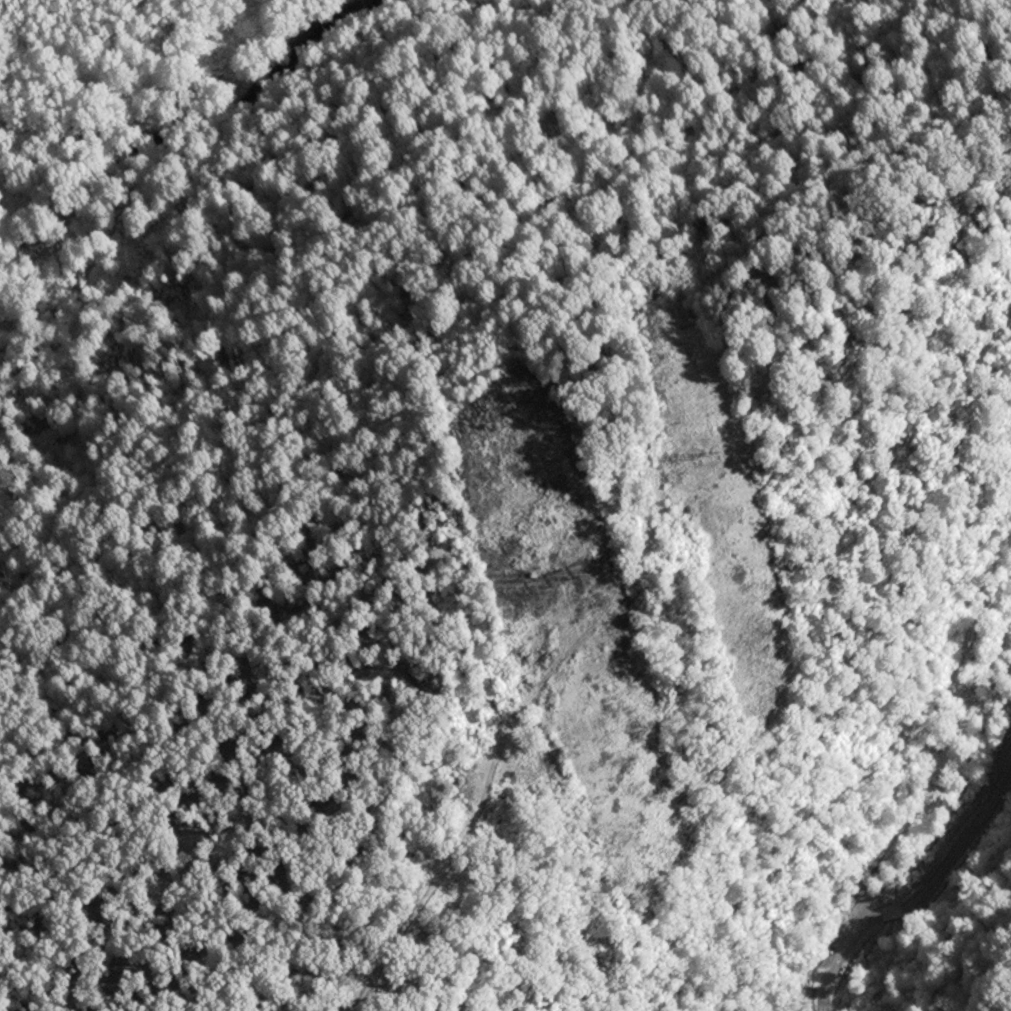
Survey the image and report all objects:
power tower: (718, 448)
power tower: (559, 576)
power tower: (876, 869)
road: (924, 919)

